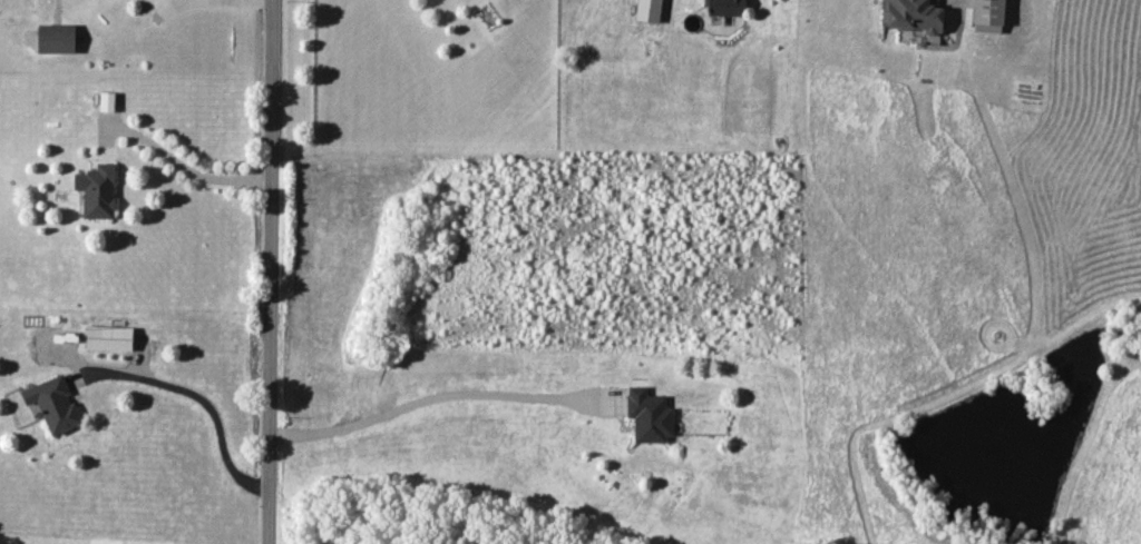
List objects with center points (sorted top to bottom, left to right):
building: (724, 8)
building: (646, 10)
building: (913, 14)
building: (987, 16)
building: (55, 38)
building: (105, 100)
road: (192, 164)
building: (96, 190)
road: (270, 271)
building: (107, 337)
road: (437, 397)
road: (194, 403)
building: (52, 404)
building: (647, 415)

